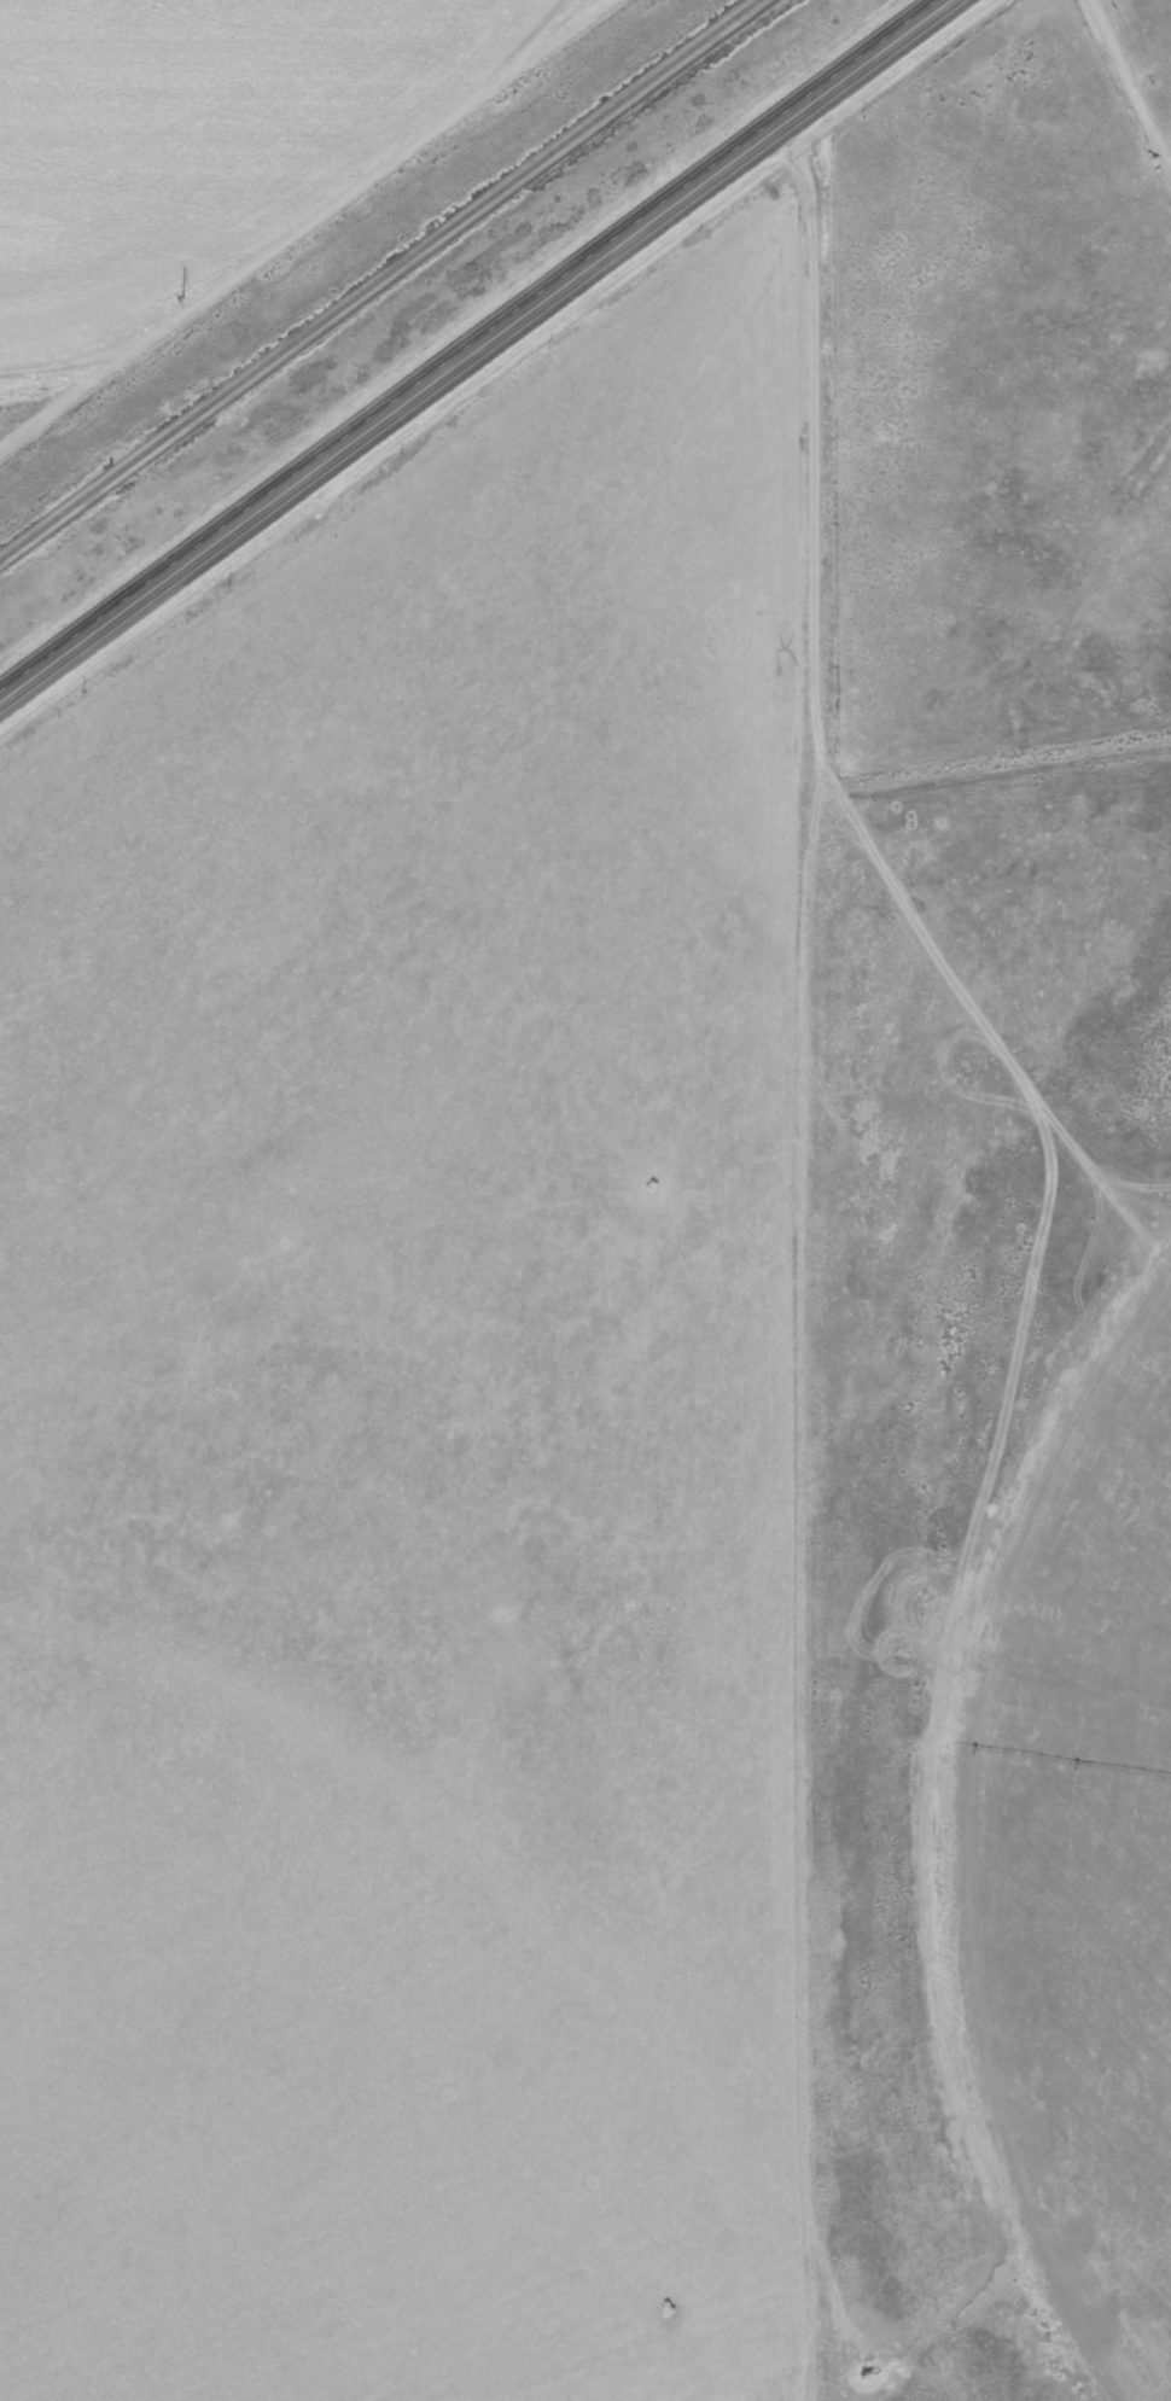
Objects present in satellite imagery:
railway: (378, 280)
power tower: (181, 296)
road: (471, 348)

